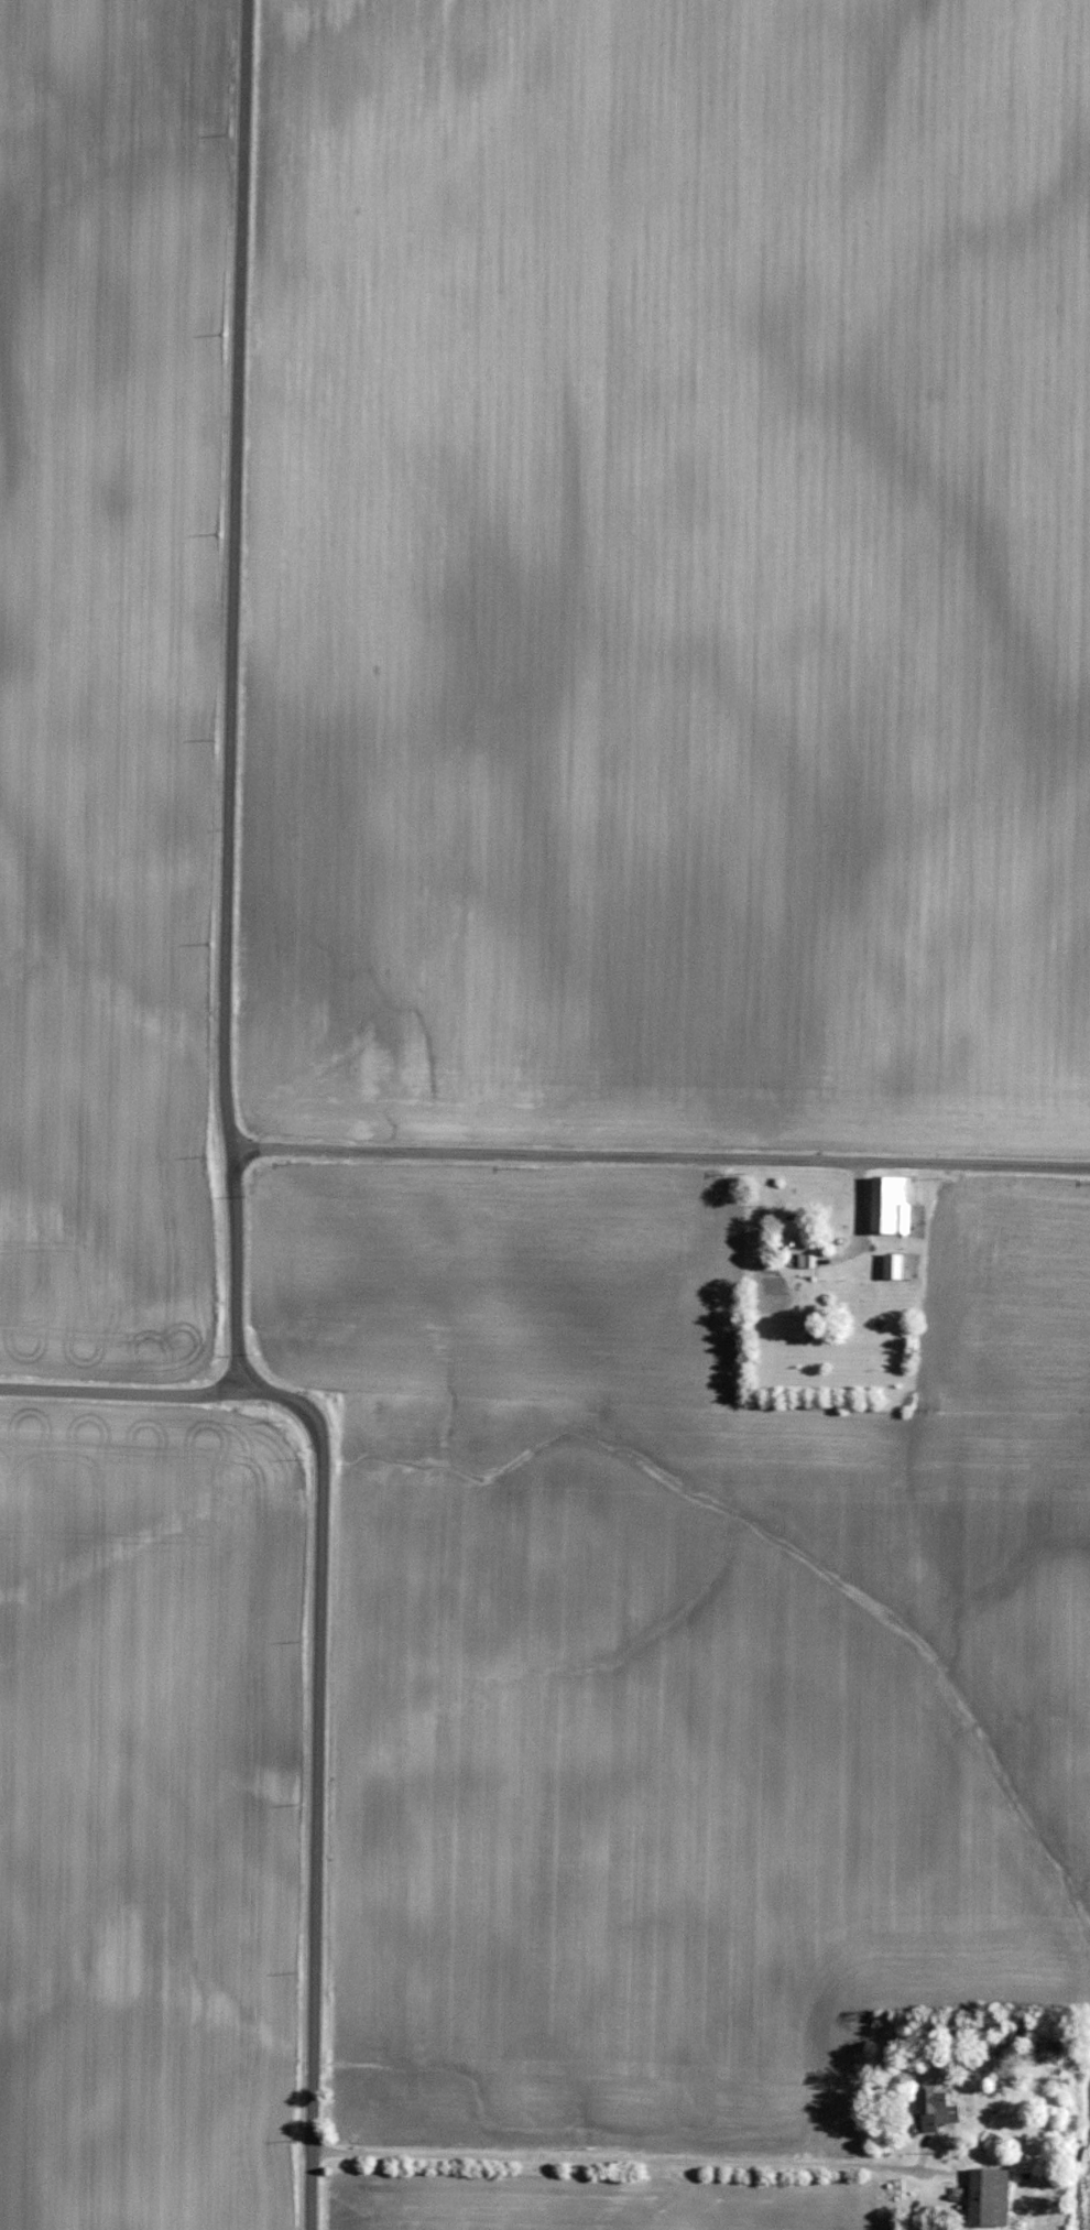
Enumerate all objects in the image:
road: (227, 697)
road: (661, 1158)
road: (118, 1390)
road: (313, 1784)
road: (626, 2164)

